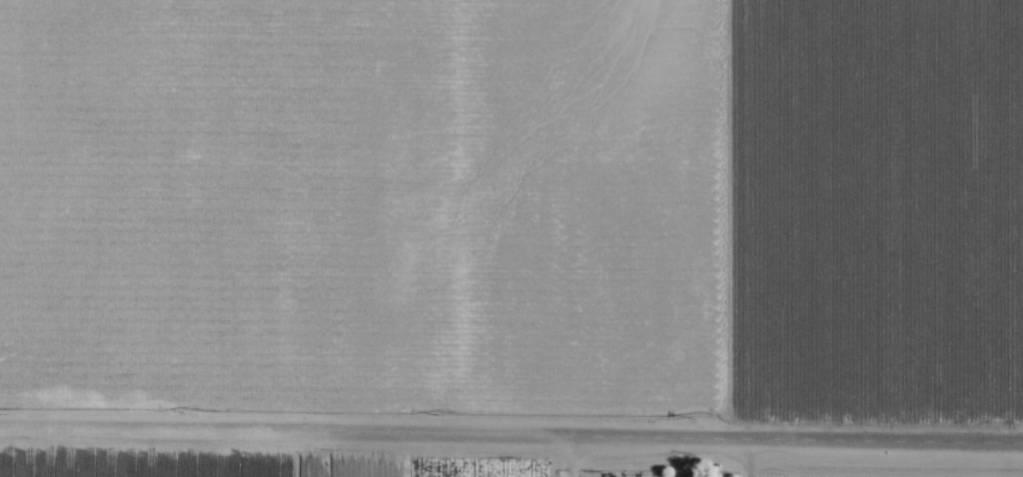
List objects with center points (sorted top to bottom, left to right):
road: (511, 434)

